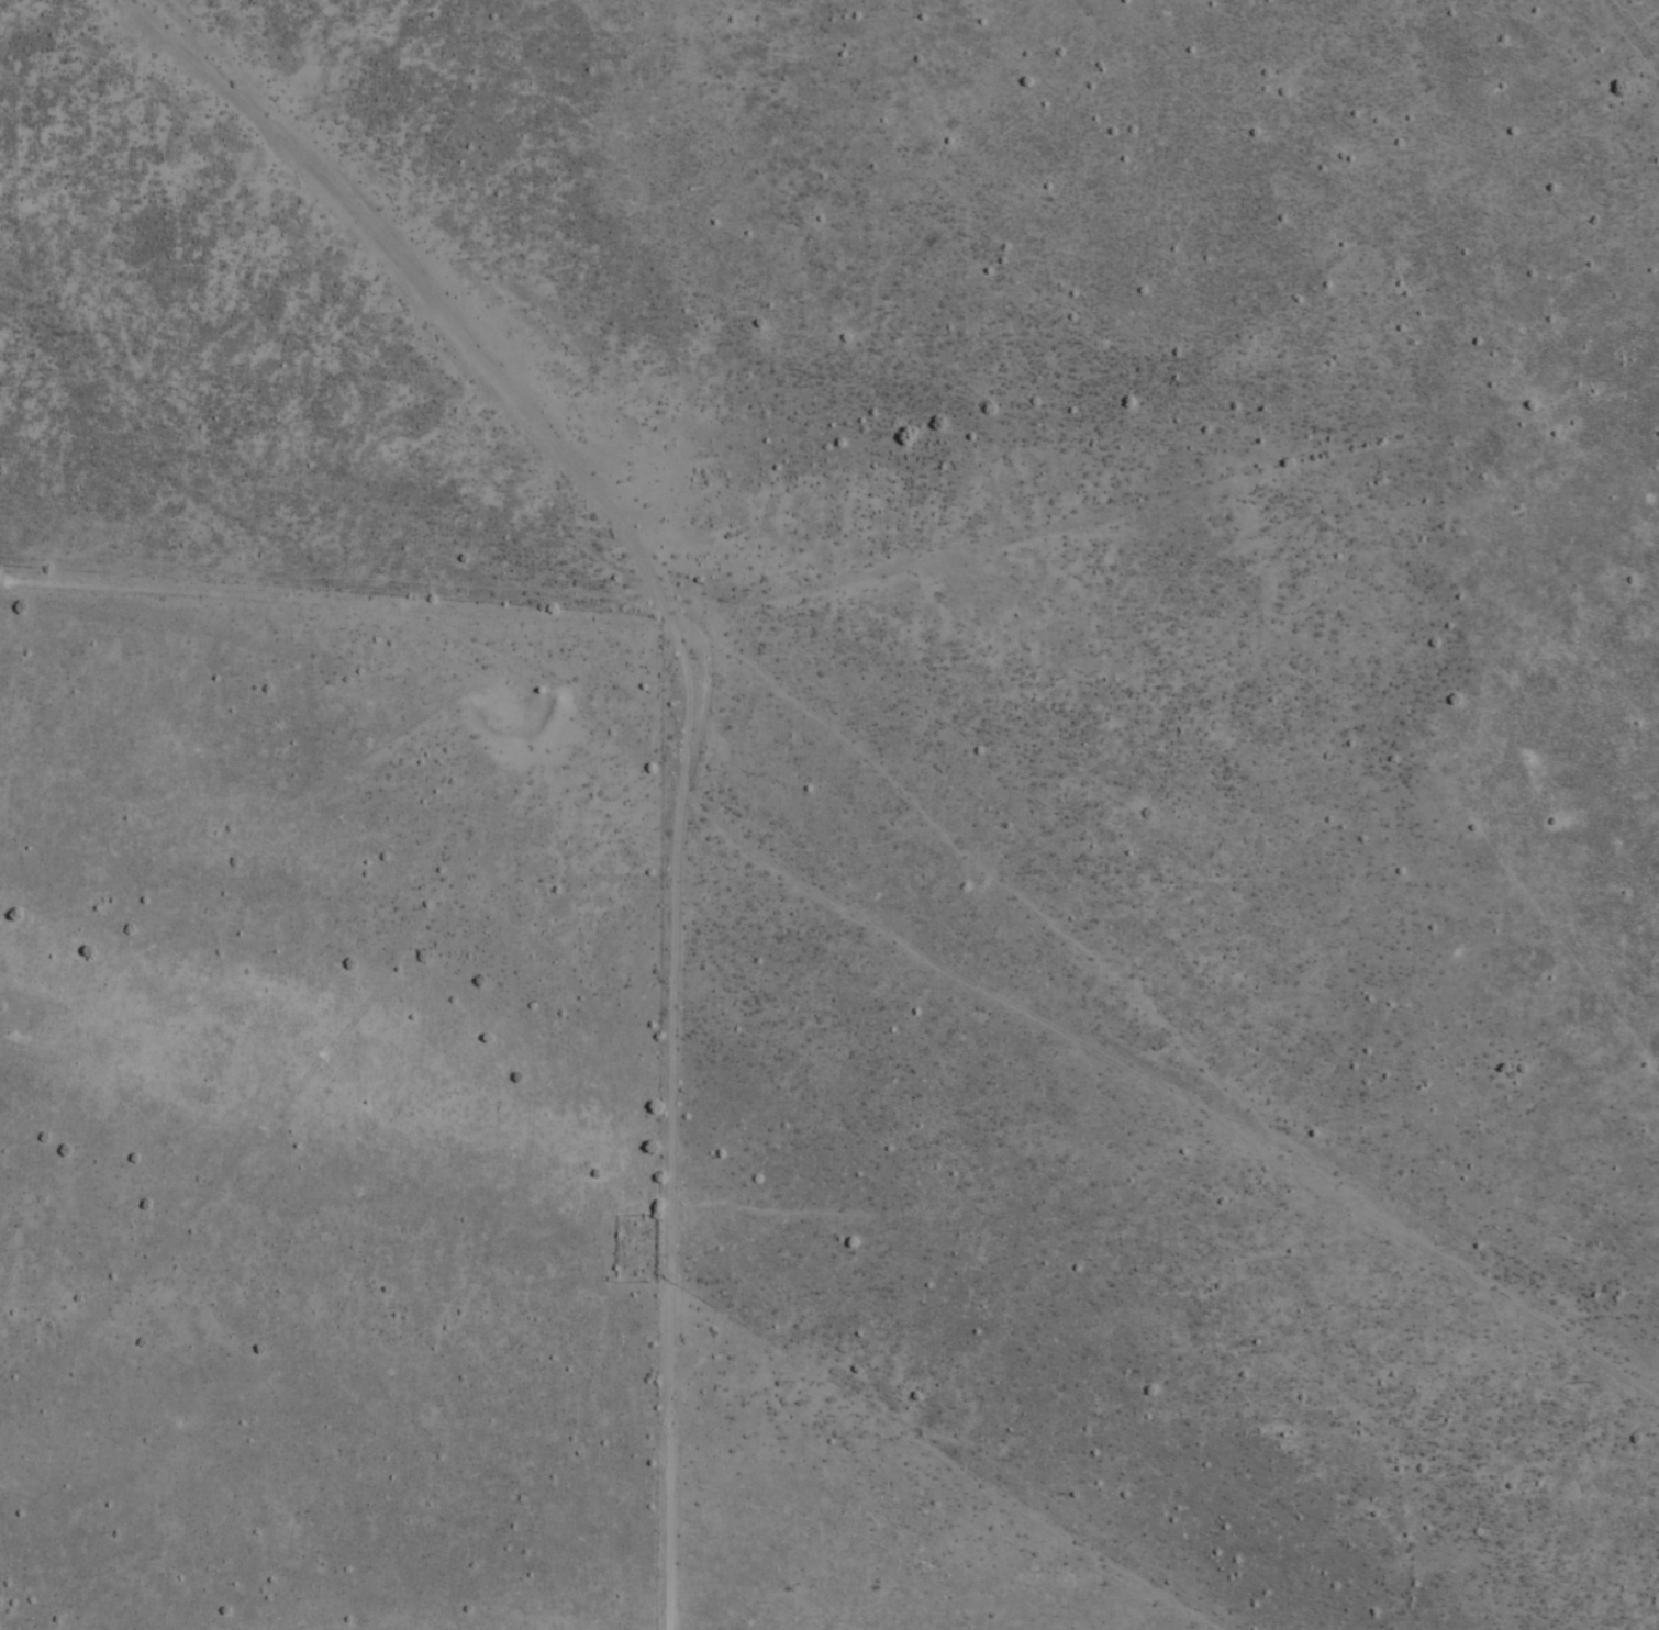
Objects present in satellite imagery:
road: (680, 782)

